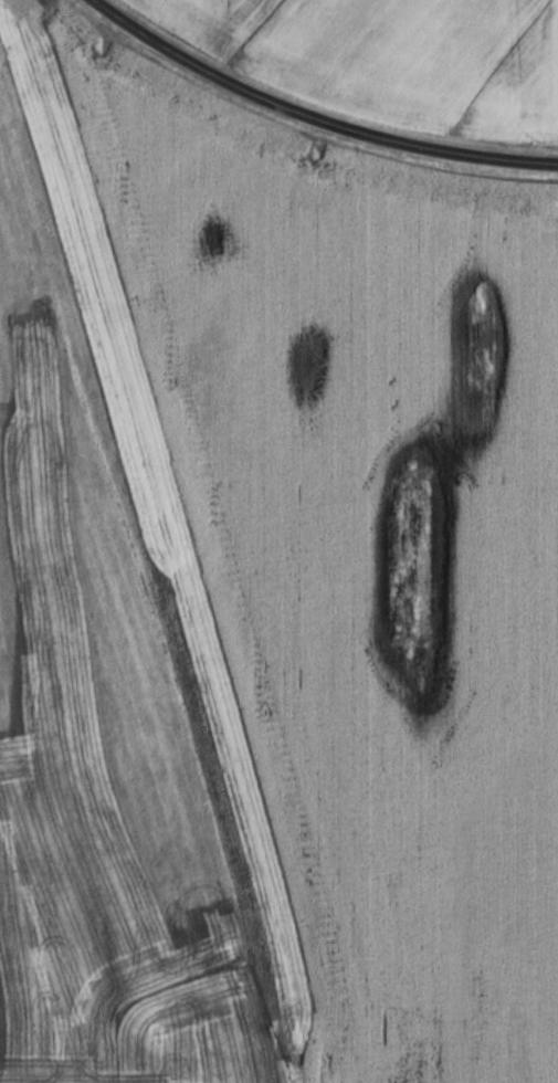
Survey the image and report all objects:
road: (314, 116)

